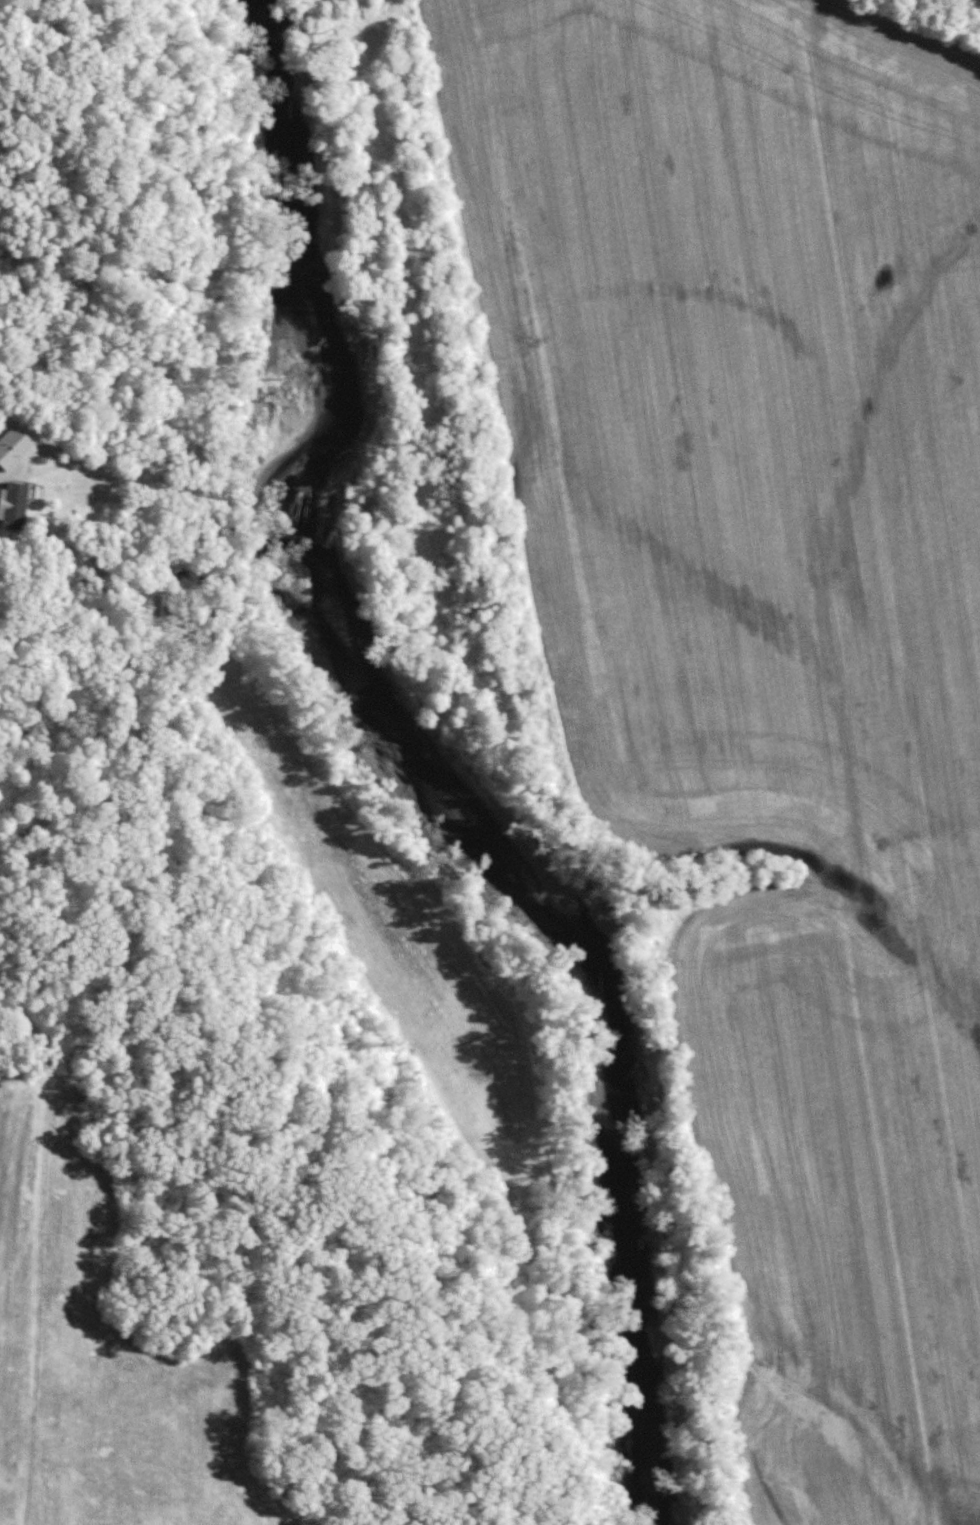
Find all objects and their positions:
river: (441, 766)

